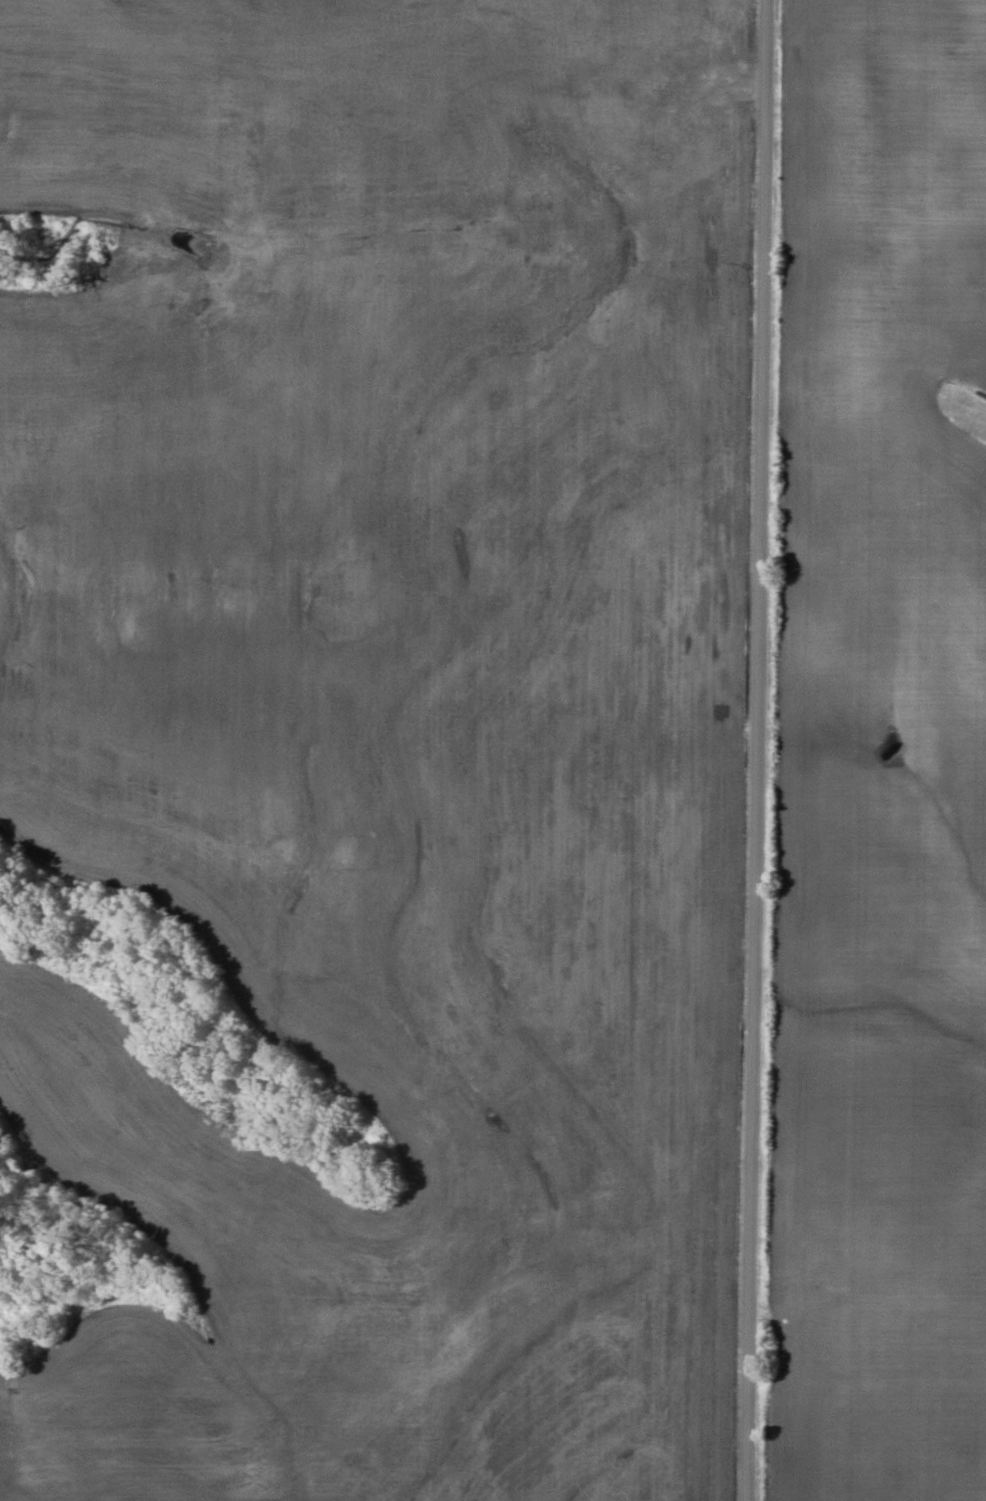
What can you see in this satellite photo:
road: (751, 750)

